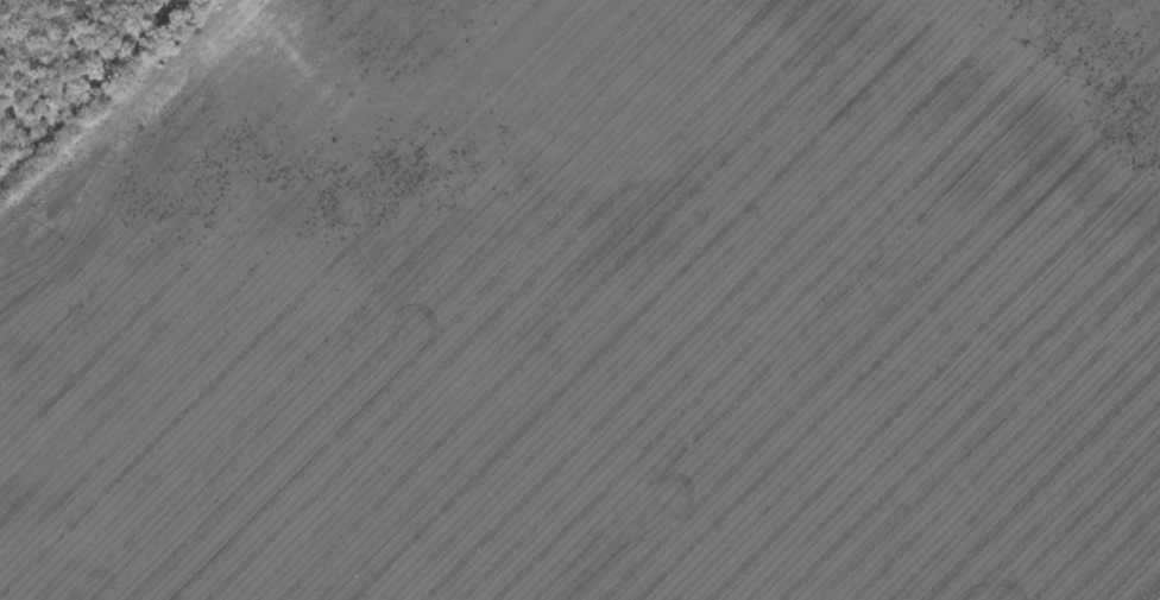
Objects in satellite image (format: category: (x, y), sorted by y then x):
crop: (597, 307)

